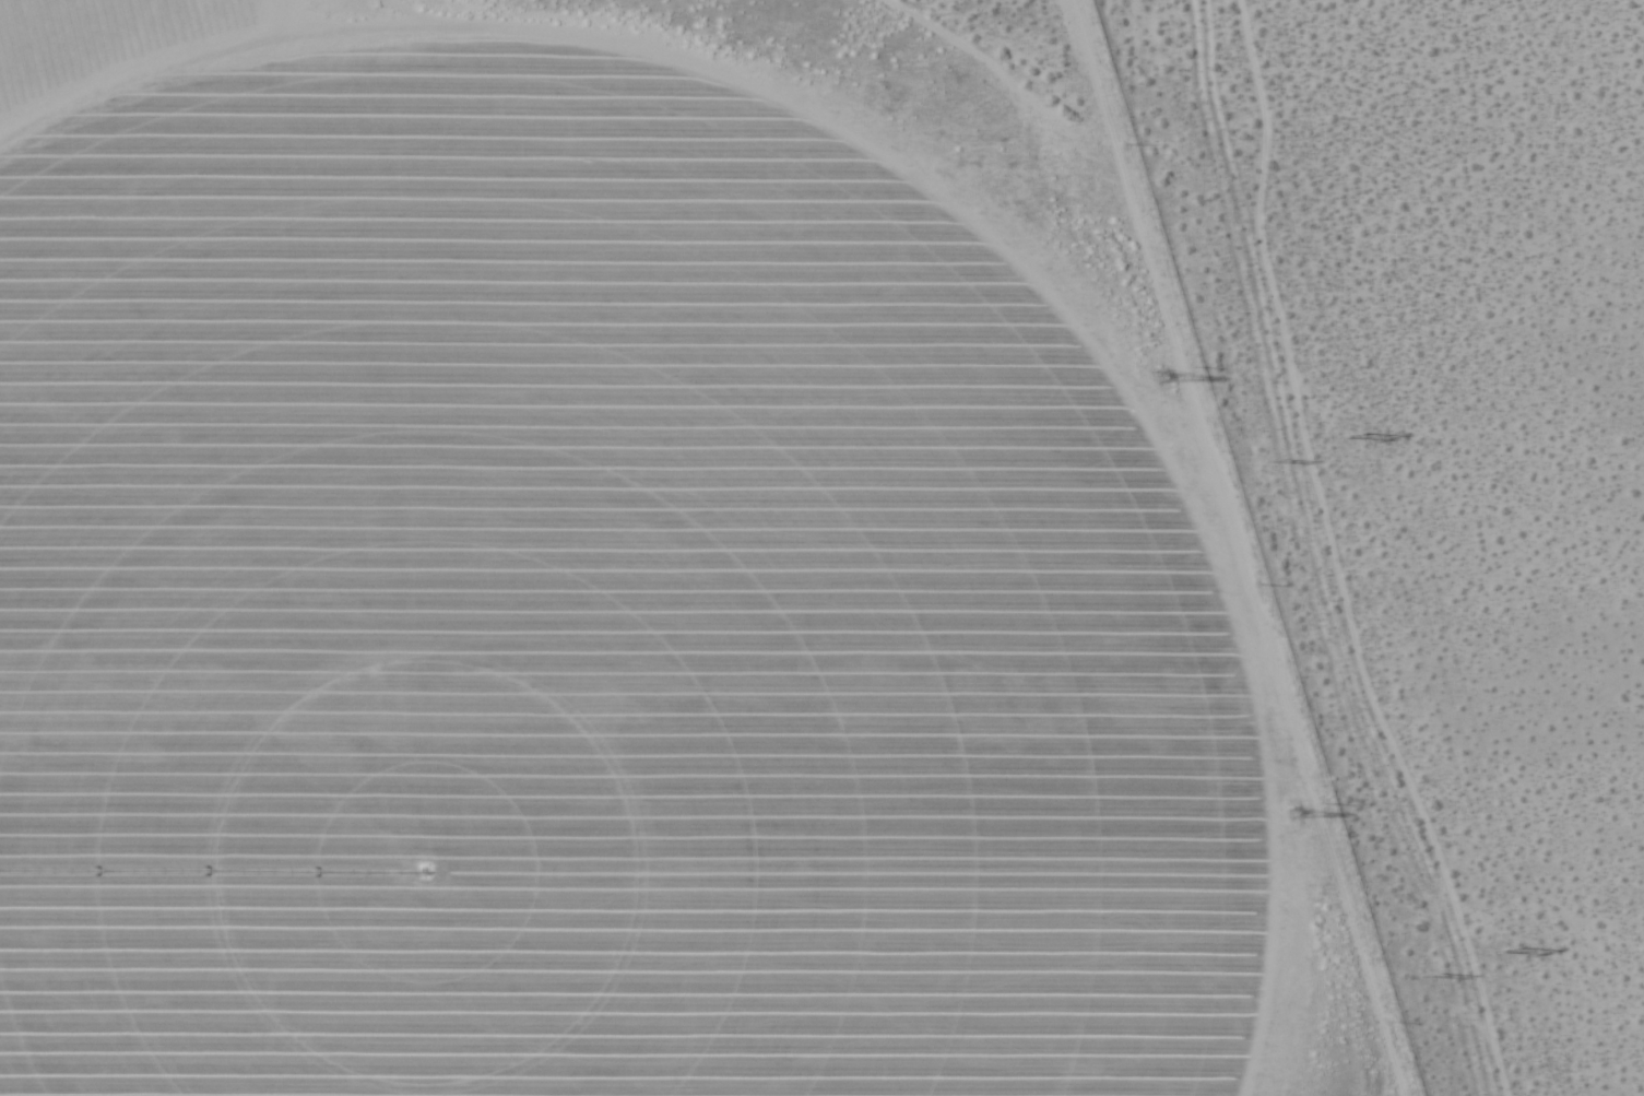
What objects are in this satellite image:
power tower: (1158, 376)
power tower: (1349, 438)
power tower: (1281, 460)
crop: (579, 596)
power tower: (1291, 815)
power tower: (1504, 947)
power tower: (1432, 968)

